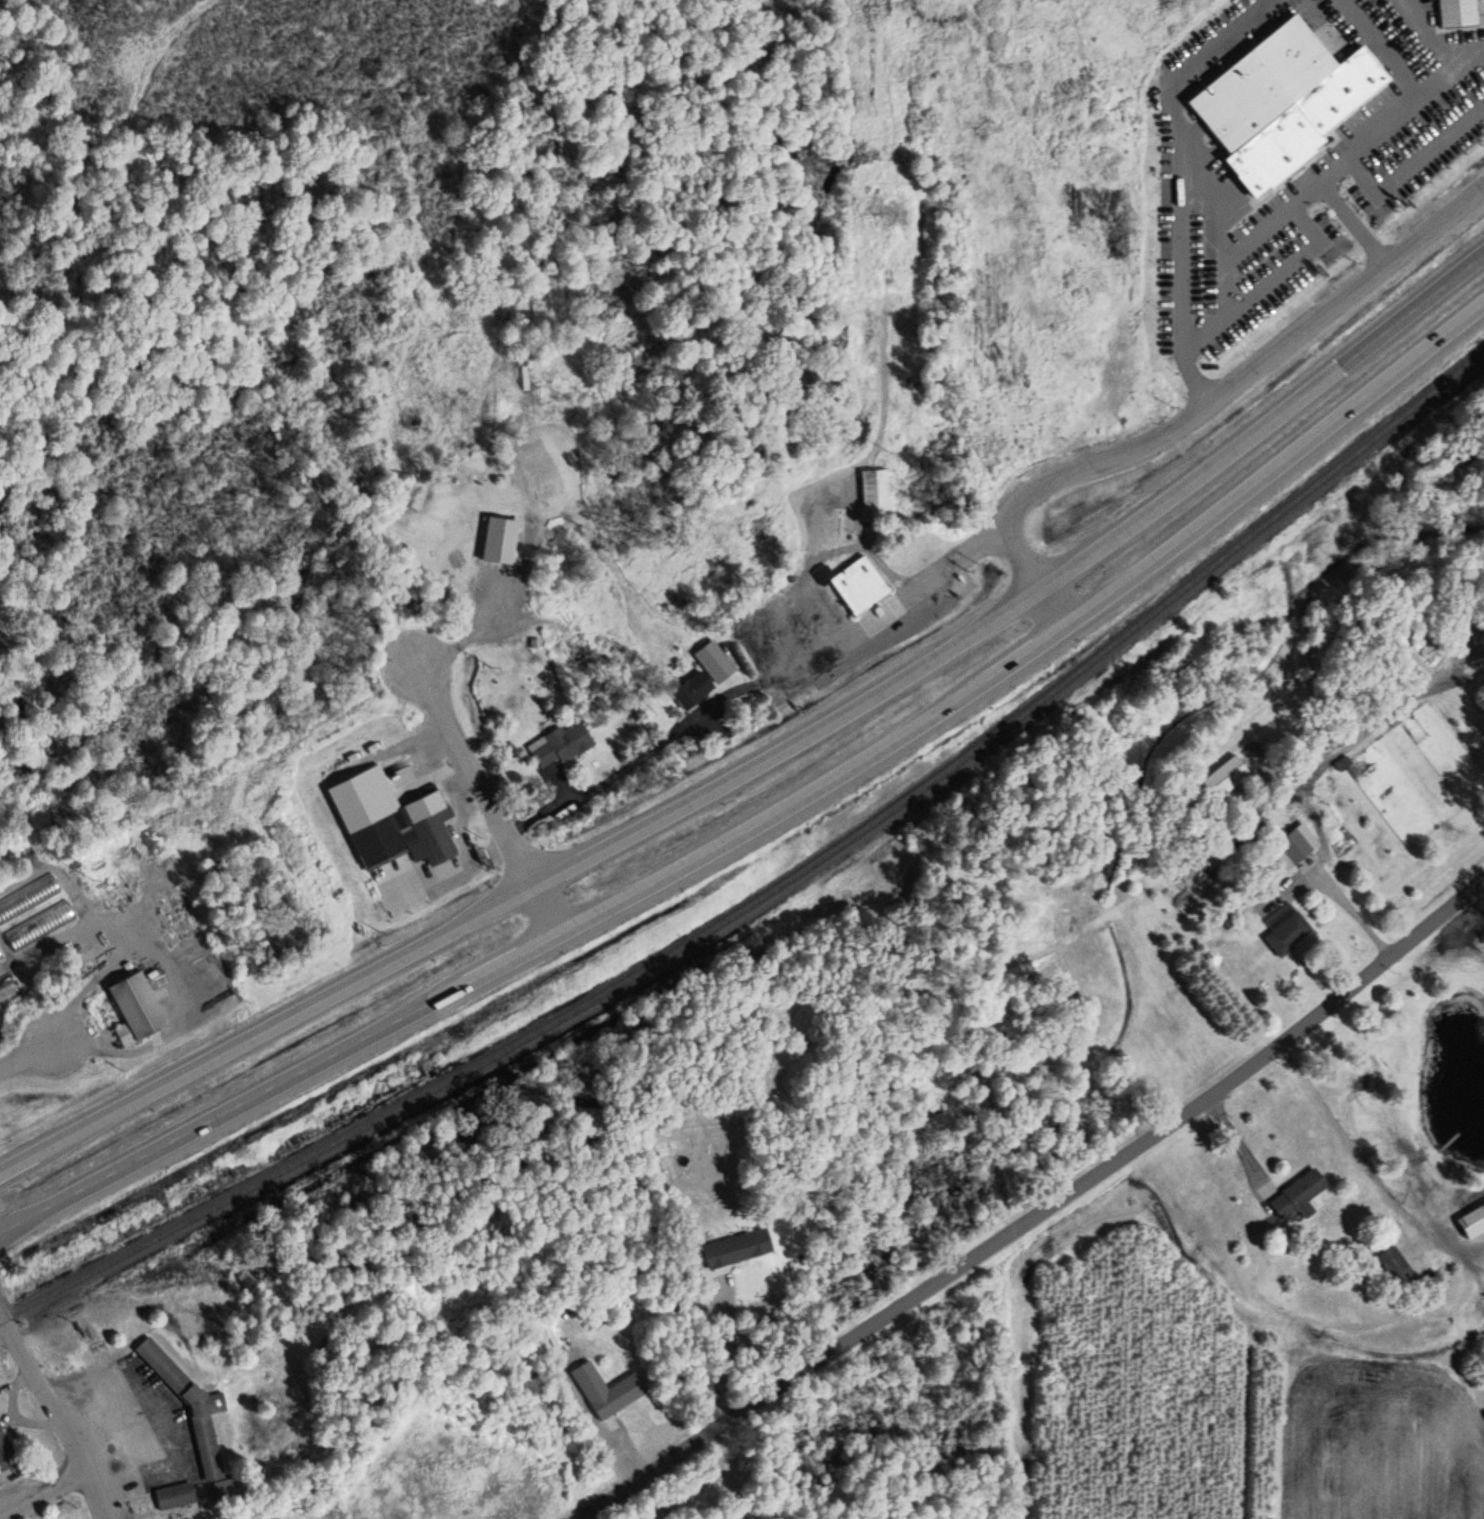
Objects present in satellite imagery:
building: (1455, 12)
building: (1208, 321)
road: (1201, 401)
power tower: (883, 448)
building: (872, 488)
building: (1359, 528)
building: (497, 538)
building: (854, 583)
building: (577, 641)
power tower: (490, 665)
building: (689, 688)
road: (444, 713)
building: (1396, 717)
building: (559, 743)
road: (770, 757)
building: (1223, 775)
road: (773, 819)
building: (388, 820)
building: (1292, 844)
road: (516, 850)
power tower: (92, 879)
railway: (776, 888)
building: (27, 897)
building: (39, 925)
building: (1286, 933)
building: (1, 960)
building: (5, 984)
building: (132, 1007)
road: (28, 1058)
building: (1296, 1194)
road: (1040, 1208)
building: (1470, 1218)
building: (733, 1246)
building: (1392, 1263)
building: (543, 1332)
building: (605, 1388)
building: (187, 1404)
road: (55, 1412)
building: (5, 1453)
road: (44, 1495)
building: (172, 1495)

